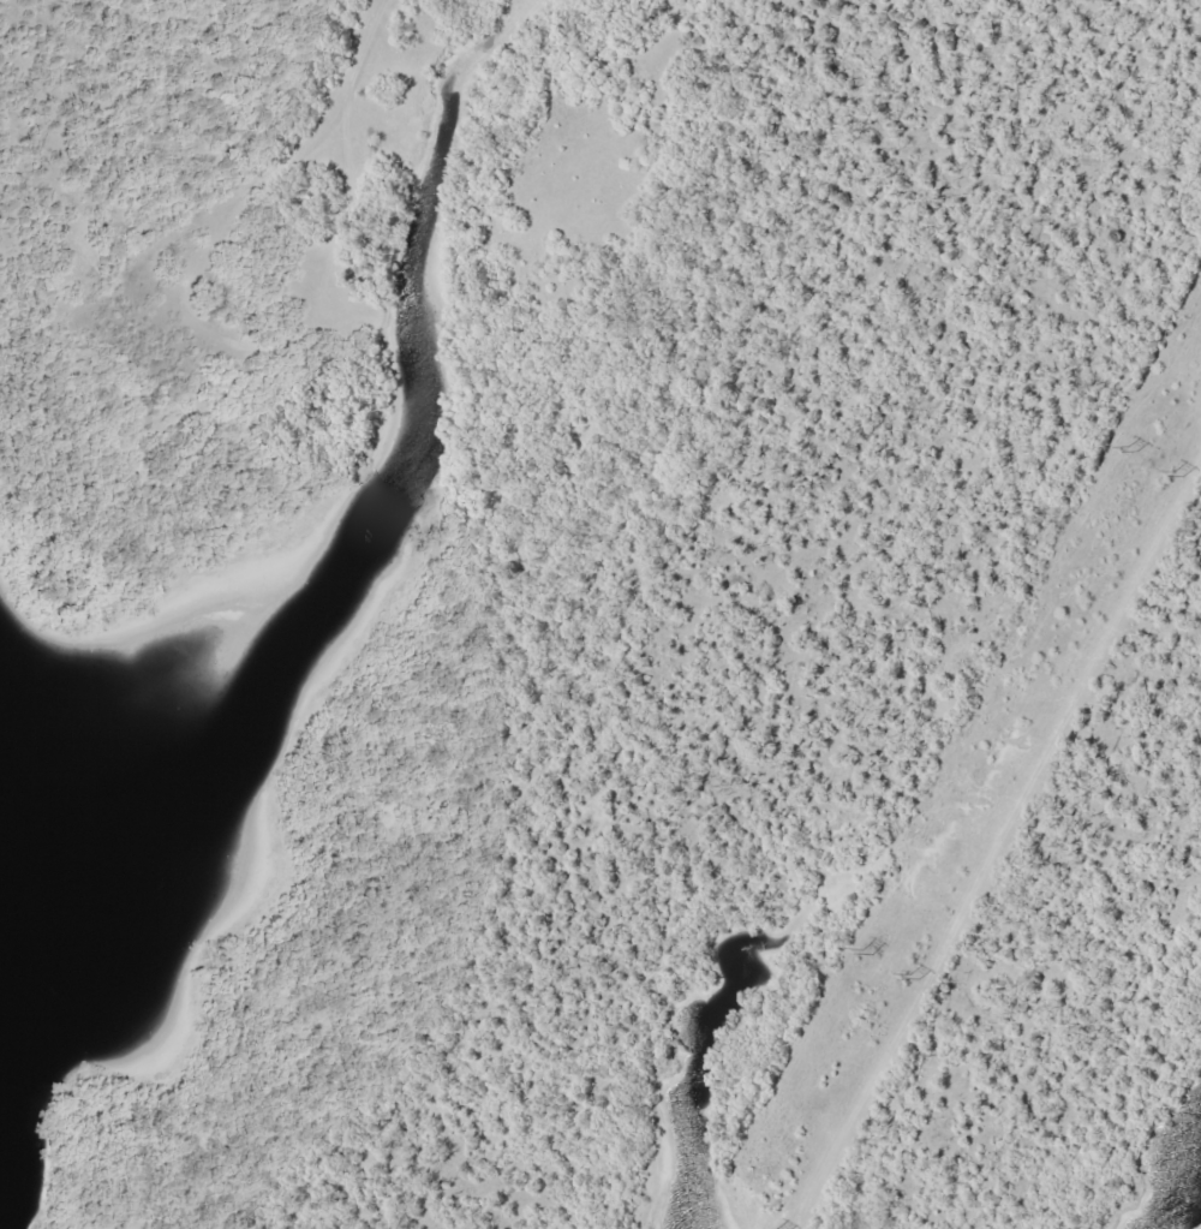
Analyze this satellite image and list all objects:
road: (318, 120)
power tower: (1134, 448)
power tower: (1185, 479)
power tower: (872, 951)
power tower: (915, 978)

